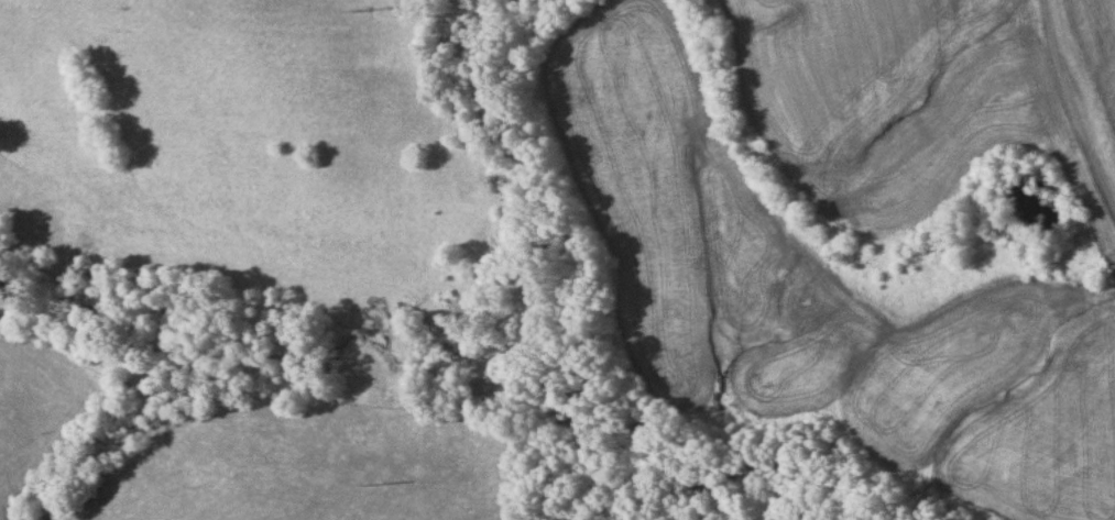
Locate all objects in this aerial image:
power tower: (360, 2)
road: (1081, 96)
power tower: (368, 480)

